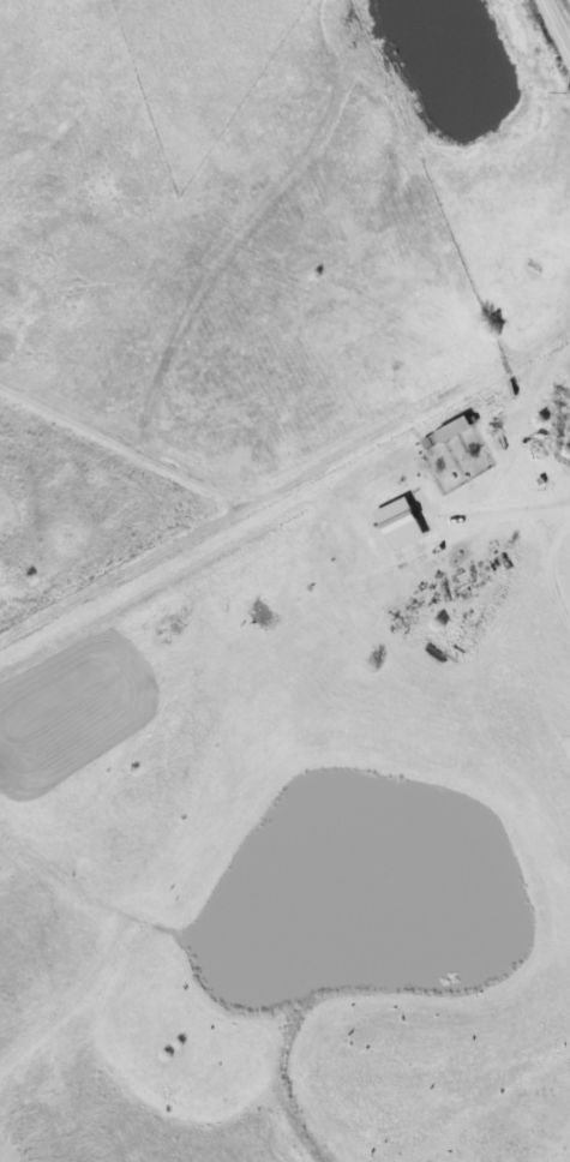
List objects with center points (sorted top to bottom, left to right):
road: (560, 18)
road: (209, 489)
road: (277, 693)

